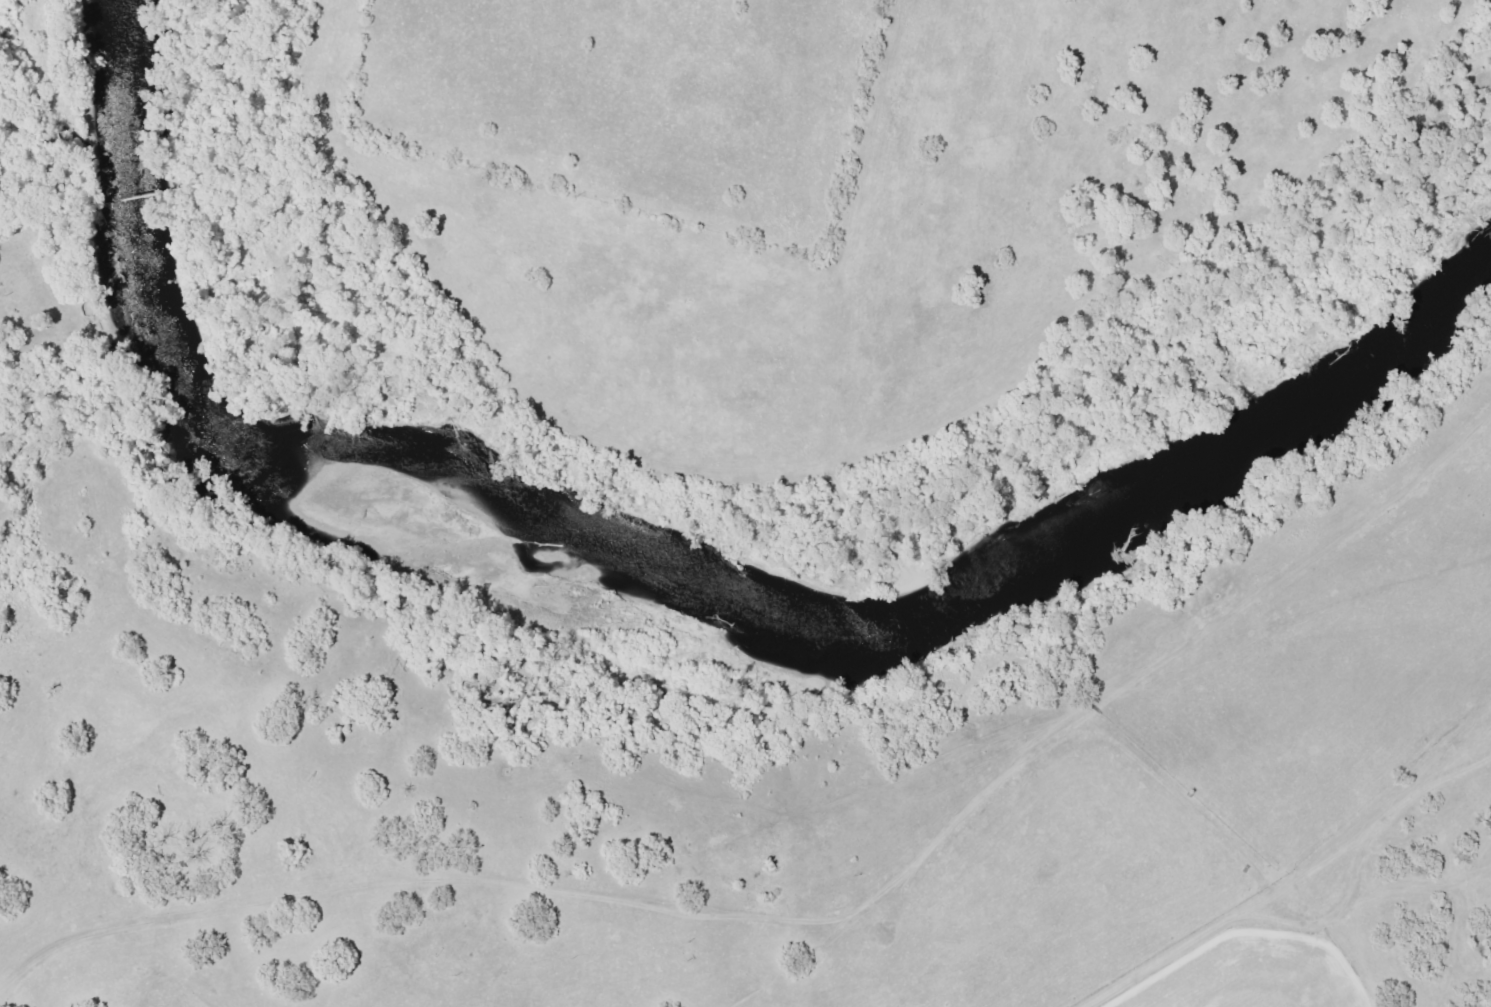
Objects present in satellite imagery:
road: (22, 154)
road: (982, 247)
river: (752, 531)
road: (12, 720)
road: (826, 904)

